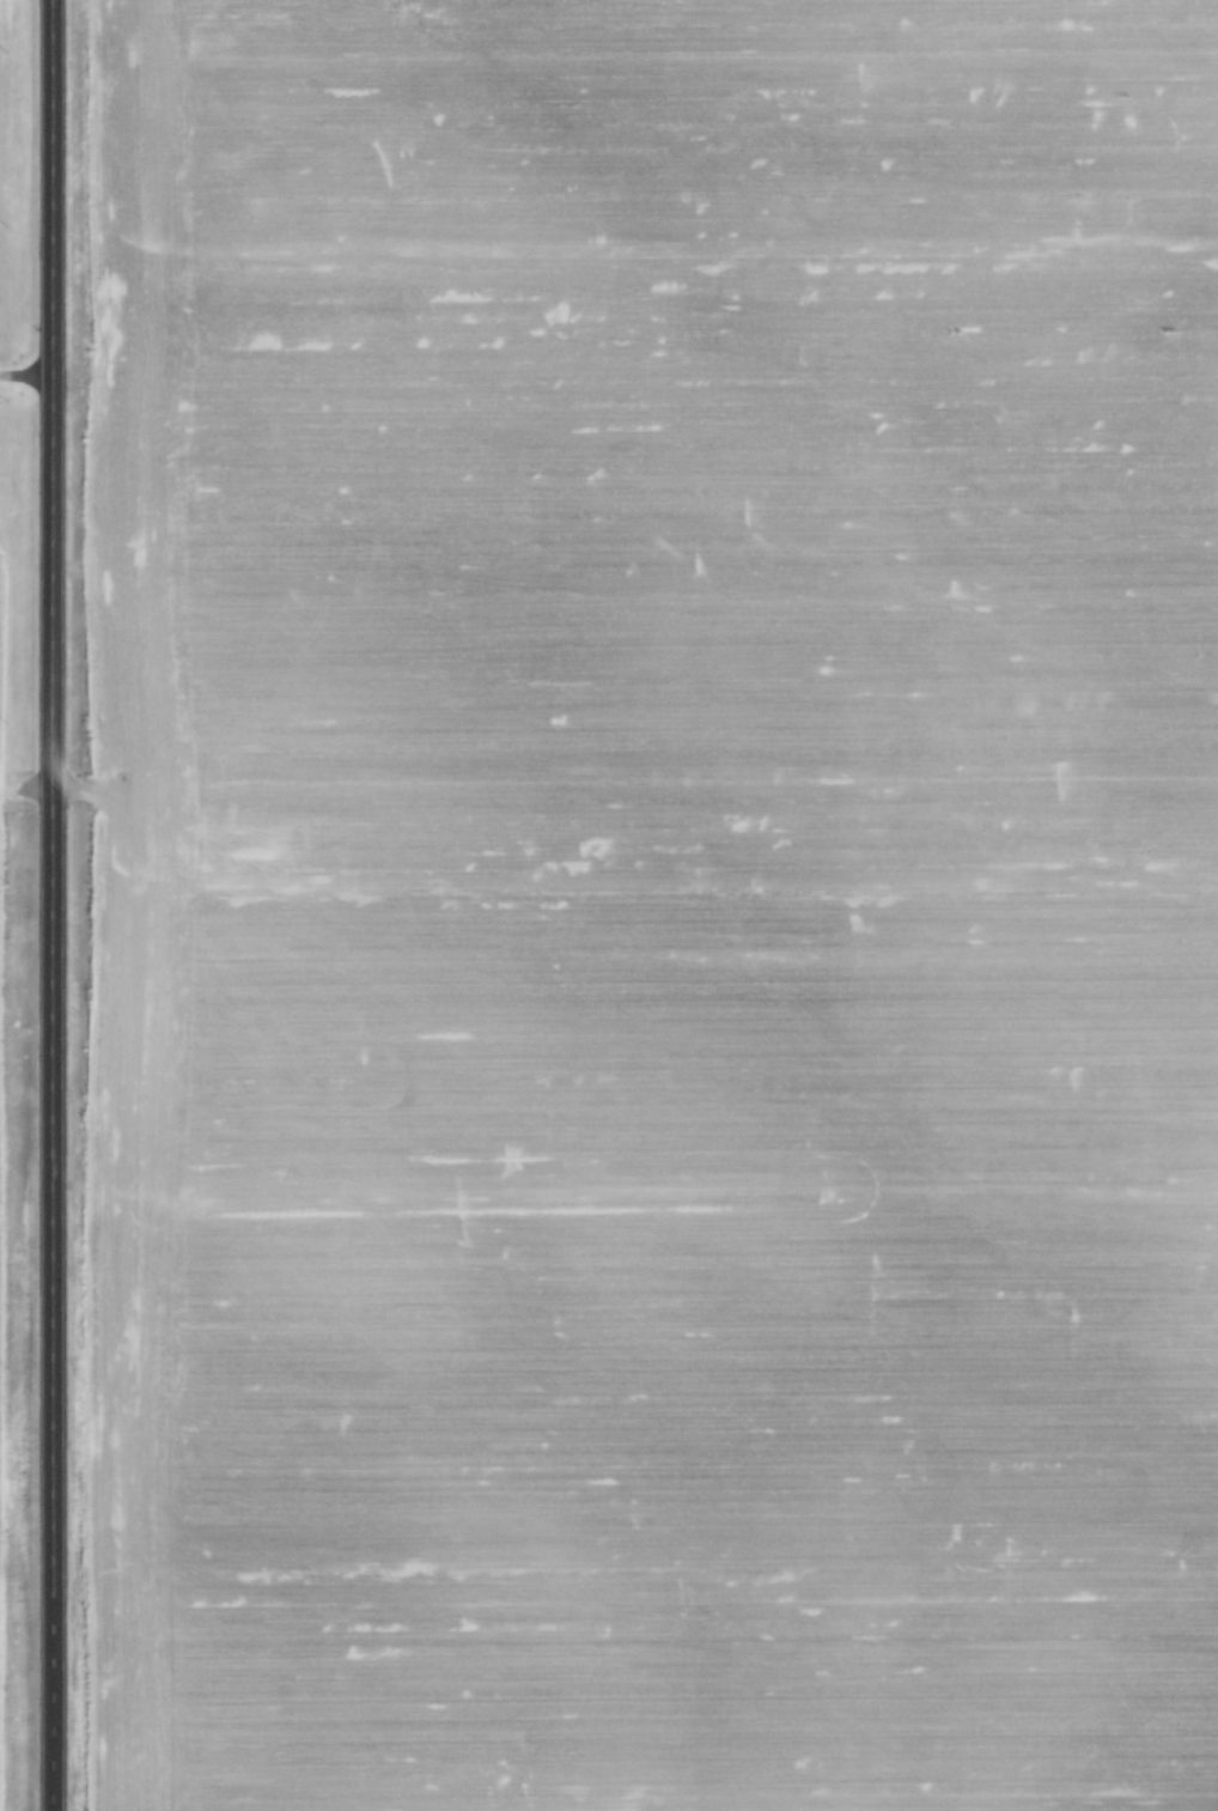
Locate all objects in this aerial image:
road: (30, 371)
road: (60, 905)

